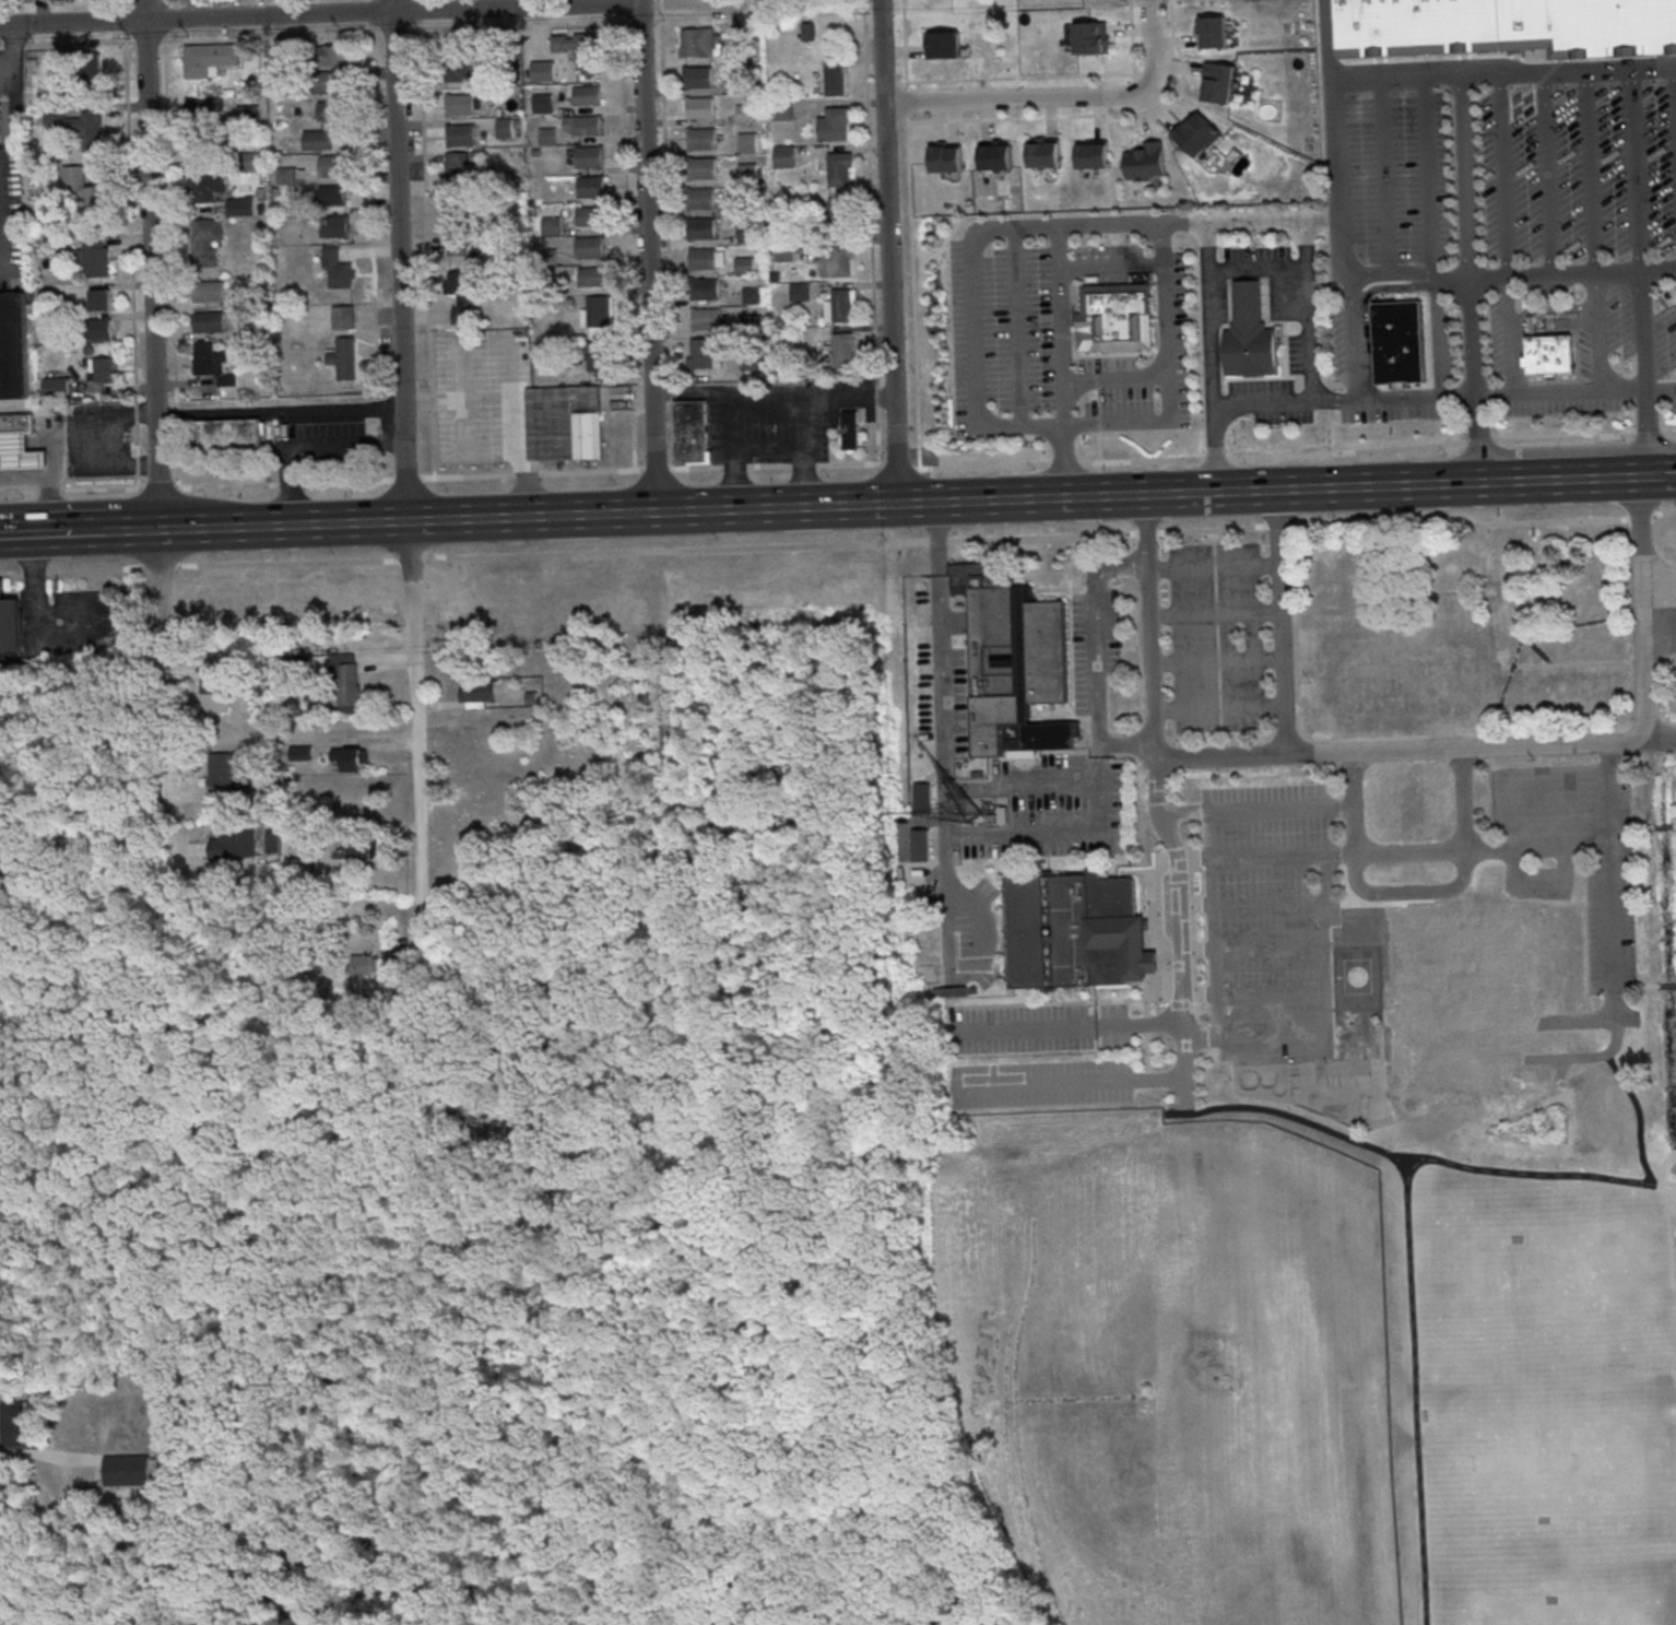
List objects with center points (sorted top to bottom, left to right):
building: (42, 0)
road: (125, 0)
road: (671, 0)
road: (661, 5)
road: (246, 8)
road: (622, 8)
road: (163, 9)
road: (321, 13)
road: (658, 23)
road: (641, 24)
road: (627, 25)
road: (1173, 26)
building: (1417, 26)
building: (1591, 27)
road: (522, 28)
building: (1214, 32)
building: (739, 35)
building: (1091, 37)
road: (1331, 40)
road: (1133, 42)
building: (698, 44)
building: (944, 44)
building: (578, 48)
road: (14, 54)
building: (333, 57)
building: (210, 60)
building: (284, 62)
building: (464, 69)
building: (64, 71)
building: (544, 72)
building: (92, 73)
road: (1150, 74)
building: (283, 79)
building: (699, 79)
road: (982, 80)
building: (836, 81)
building: (1218, 82)
building: (324, 83)
building: (736, 85)
road: (906, 85)
road: (1137, 89)
building: (588, 96)
road: (1064, 97)
road: (906, 103)
building: (543, 104)
building: (461, 106)
building: (701, 109)
building: (203, 110)
building: (334, 113)
building: (784, 113)
building: (747, 115)
building: (56, 116)
building: (248, 116)
building: (836, 126)
building: (583, 127)
building: (87, 130)
building: (506, 130)
building: (1197, 136)
building: (462, 137)
building: (548, 138)
building: (704, 140)
building: (319, 142)
building: (750, 144)
building: (208, 145)
building: (1043, 153)
building: (1093, 154)
building: (995, 156)
building: (786, 157)
building: (945, 157)
building: (590, 158)
building: (1145, 160)
building: (248, 162)
building: (333, 167)
building: (840, 169)
road: (1339, 169)
building: (705, 170)
building: (458, 173)
road: (1464, 174)
road: (1547, 174)
building: (750, 175)
road: (1426, 175)
building: (287, 177)
road: (1384, 177)
building: (75, 181)
building: (206, 188)
building: (592, 189)
building: (333, 197)
building: (704, 200)
building: (95, 201)
building: (241, 208)
building: (742, 208)
building: (840, 216)
building: (457, 217)
building: (591, 217)
building: (552, 227)
building: (337, 228)
road: (1303, 228)
building: (704, 231)
road: (872, 233)
building: (750, 235)
road: (427, 238)
building: (94, 240)
road: (669, 240)
building: (208, 243)
road: (172, 244)
building: (458, 248)
road: (628, 248)
building: (591, 249)
building: (787, 250)
road: (890, 251)
road: (650, 256)
building: (331, 258)
building: (550, 258)
road: (400, 260)
building: (705, 261)
building: (95, 262)
building: (837, 262)
road: (153, 263)
building: (746, 266)
road: (1112, 266)
road: (1256, 266)
road: (131, 267)
road: (1572, 272)
building: (592, 276)
building: (342, 278)
building: (458, 289)
building: (551, 289)
building: (707, 291)
building: (210, 293)
building: (801, 293)
road: (913, 295)
building: (753, 296)
building: (251, 298)
building: (102, 303)
building: (841, 308)
building: (601, 313)
building: (463, 317)
building: (1118, 317)
building: (344, 319)
building: (707, 320)
building: (210, 322)
building: (52, 323)
building: (754, 325)
road: (1062, 326)
road: (1016, 327)
road: (976, 328)
building: (97, 330)
building: (600, 333)
building: (1250, 334)
road: (1353, 337)
building: (1398, 342)
building: (14, 346)
building: (845, 352)
building: (703, 355)
building: (1549, 355)
road: (1212, 357)
building: (601, 358)
building: (210, 360)
building: (345, 360)
building: (754, 362)
building: (103, 372)
road: (1643, 373)
road: (1168, 375)
building: (227, 380)
road: (1116, 380)
building: (57, 388)
road: (1533, 395)
road: (1495, 397)
road: (1099, 402)
road: (1263, 402)
road: (769, 408)
road: (279, 411)
parking lot: (765, 422)
road: (1058, 424)
building: (16, 425)
building: (564, 425)
building: (851, 429)
building: (692, 433)
building: (231, 438)
road: (80, 445)
road: (1100, 448)
building: (20, 456)
road: (1297, 456)
road: (849, 466)
road: (769, 467)
road: (804, 467)
road: (900, 467)
road: (696, 468)
road: (735, 468)
road: (657, 470)
road: (591, 473)
road: (526, 475)
road: (1662, 476)
road: (468, 478)
road: (1642, 478)
road: (408, 480)
road: (1559, 481)
road: (46, 482)
road: (196, 487)
road: (1312, 490)
road: (1039, 498)
road: (917, 503)
road: (1664, 513)
road: (1640, 515)
road: (528, 517)
road: (113, 528)
road: (34, 531)
road: (935, 538)
road: (814, 545)
road: (1215, 568)
road: (1641, 609)
road: (1217, 616)
road: (35, 619)
road: (1285, 622)
building: (9, 624)
road: (1150, 627)
parking lot: (1217, 638)
road: (1099, 660)
building: (1012, 661)
road: (1219, 663)
building: (288, 666)
building: (1405, 669)
building: (347, 680)
road: (163, 691)
building: (480, 691)
building: (213, 699)
road: (415, 707)
road: (1221, 708)
road: (1661, 740)
road: (1479, 746)
building: (303, 753)
road: (1235, 756)
building: (351, 759)
road: (1525, 775)
building: (231, 778)
building: (922, 798)
road: (1260, 810)
road: (1563, 811)
building: (273, 840)
building: (236, 843)
building: (362, 847)
road: (1412, 853)
parking lot: (1573, 855)
road: (1610, 880)
road: (1213, 881)
road: (1414, 896)
road: (1324, 905)
parking lot: (1270, 919)
building: (1074, 931)
road: (1181, 934)
park: (1657, 943)
road: (1322, 964)
building: (366, 965)
building: (1463, 965)
park: (1357, 977)
road: (1637, 986)
road: (1667, 987)
road: (1271, 994)
parking lot: (1037, 1028)
road: (1070, 1029)
park: (1330, 1076)
parking lot: (1042, 1084)
road: (1071, 1085)
road: (1639, 1116)
road: (1427, 1157)
road: (1663, 1167)
park: (1543, 1257)
road: (1013, 1310)
park: (1299, 1375)
road: (1417, 1390)
road: (1070, 1401)
road: (1017, 1423)
building: (16, 1424)
park: (1580, 1459)
building: (128, 1470)
park: (1638, 1613)
park: (1513, 1618)

